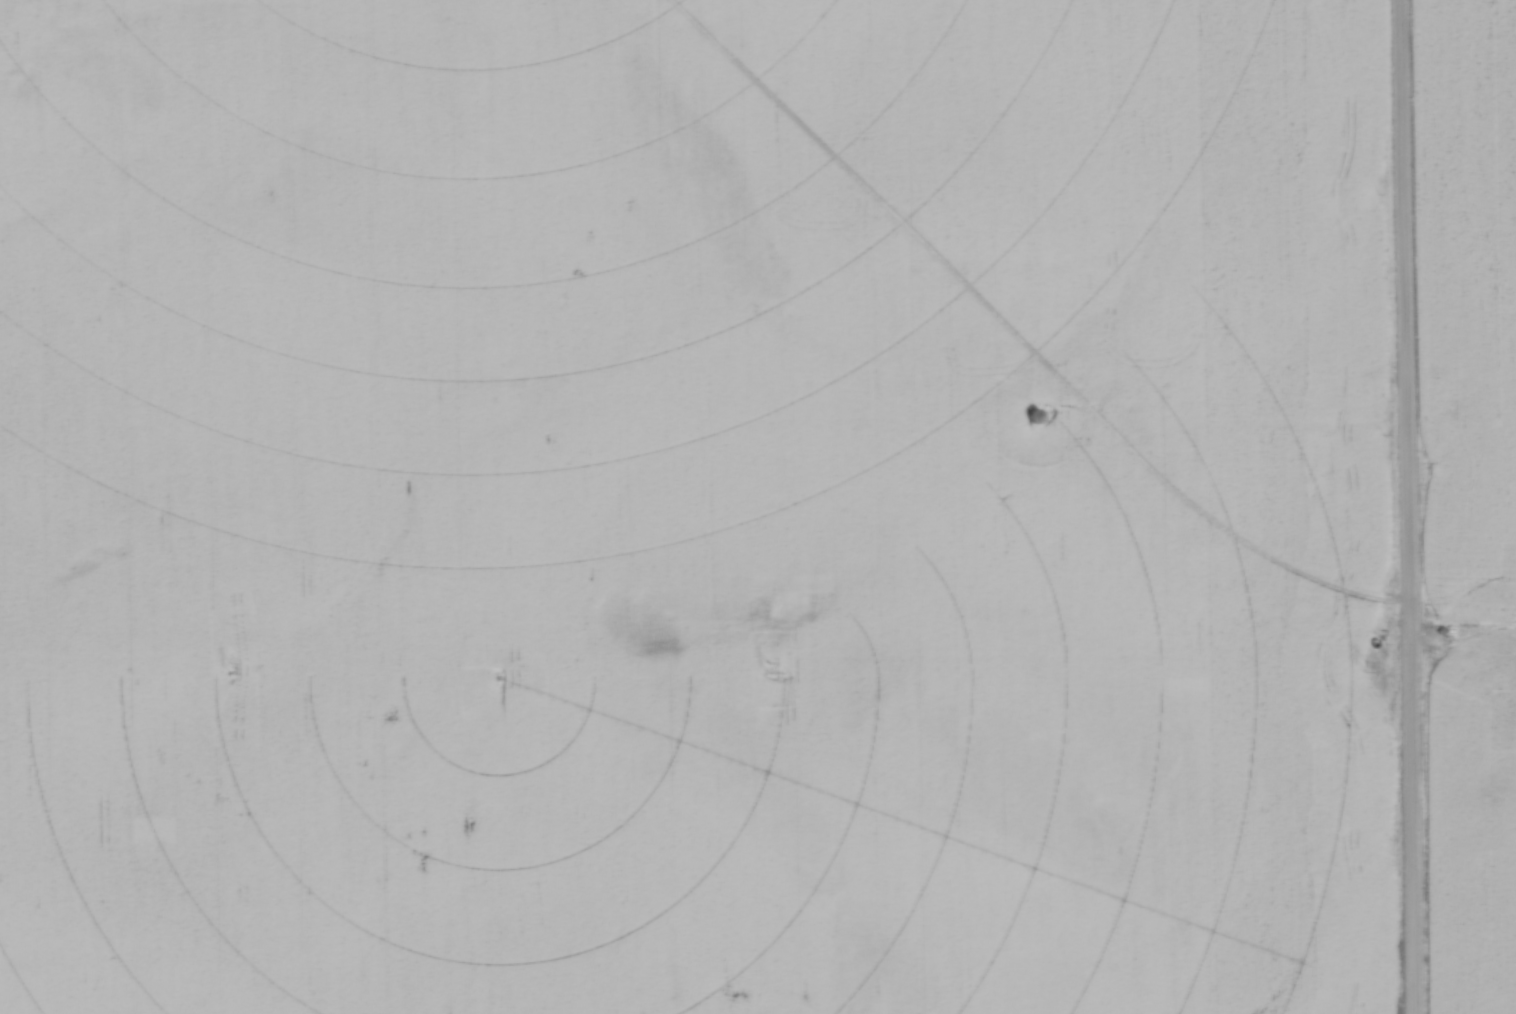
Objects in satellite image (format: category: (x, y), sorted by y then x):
road: (1409, 506)
power tower: (1364, 665)
power tower: (231, 667)
power tower: (768, 667)

